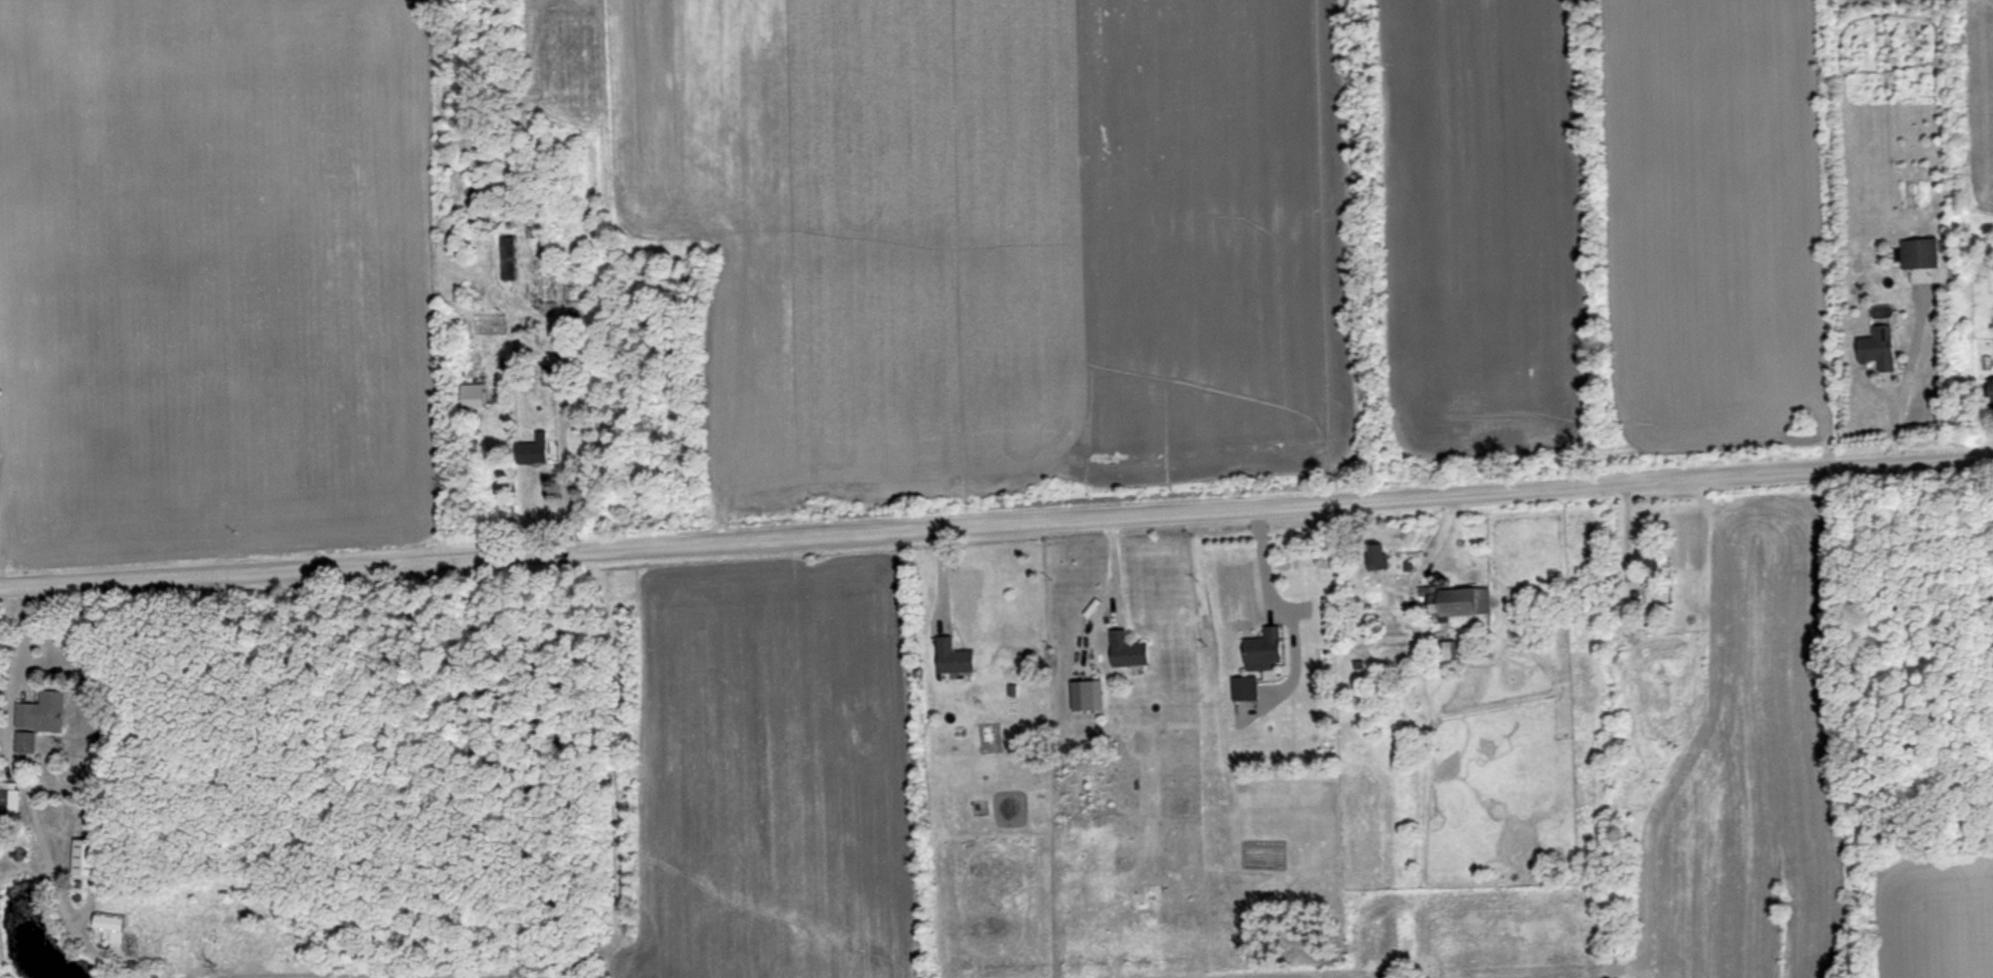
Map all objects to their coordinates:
building: (1920, 252)
building: (507, 256)
building: (559, 291)
building: (1878, 348)
building: (1989, 392)
building: (531, 453)
road: (996, 520)
building: (1376, 556)
building: (1647, 556)
building: (1457, 601)
building: (1127, 650)
building: (1262, 650)
building: (1444, 650)
building: (953, 656)
building: (1243, 688)
building: (47, 711)
building: (29, 741)
building: (9, 803)
building: (86, 856)
building: (108, 928)

